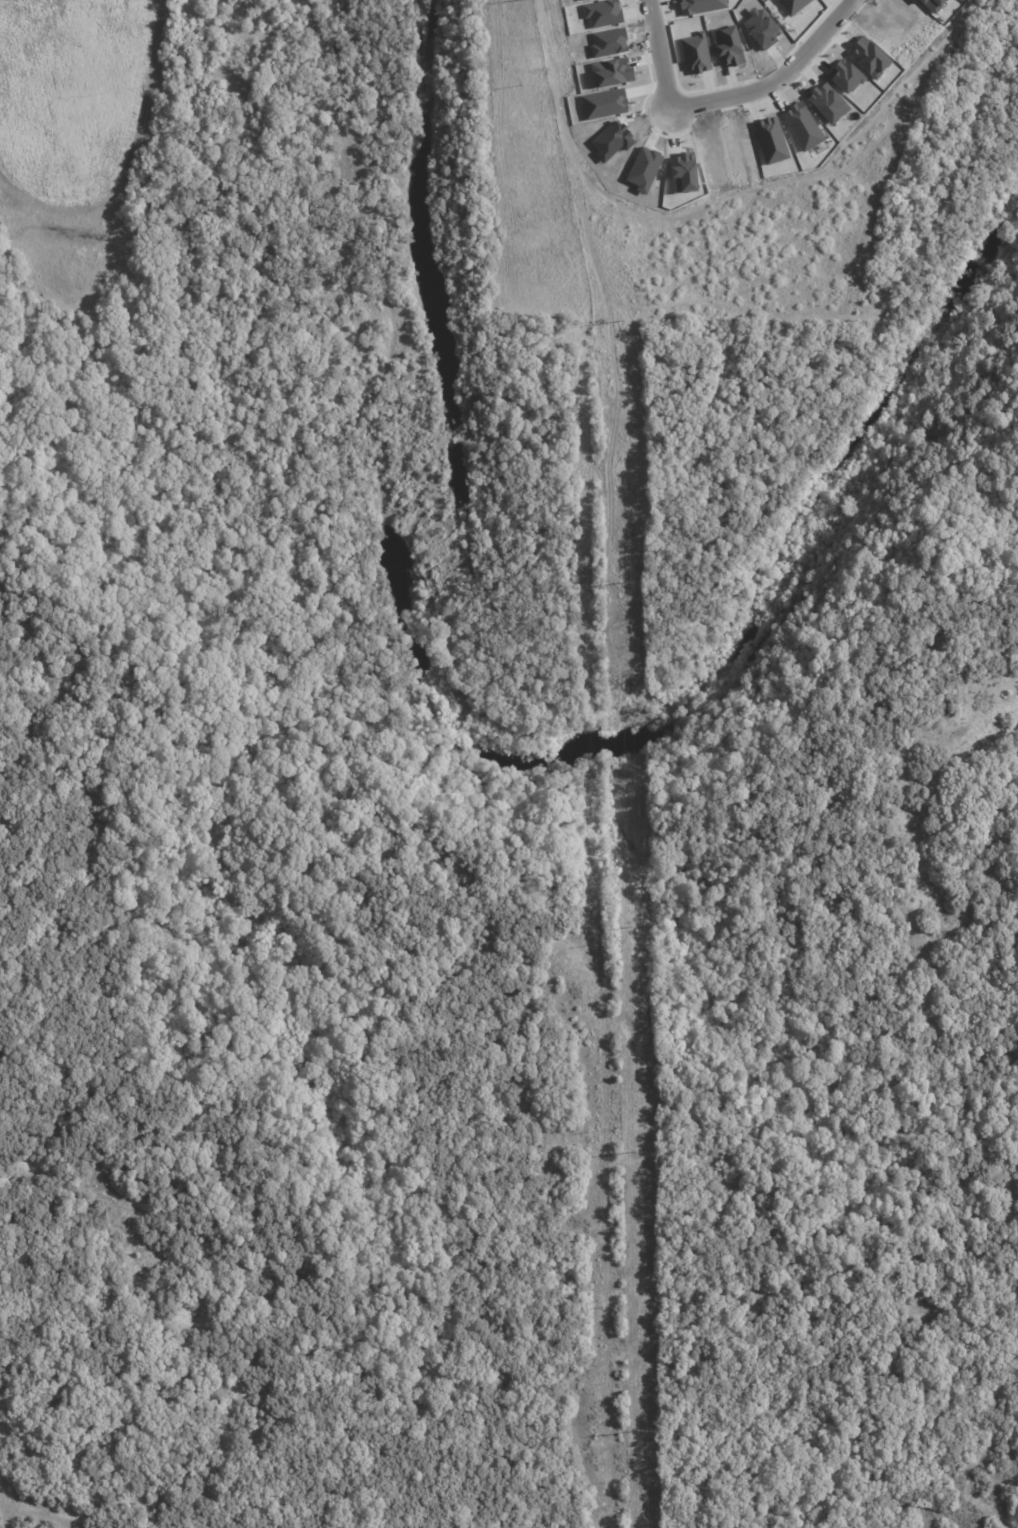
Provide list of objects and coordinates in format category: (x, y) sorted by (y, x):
building: (934, 4)
building: (702, 5)
building: (792, 5)
building: (604, 11)
road: (839, 37)
building: (729, 44)
building: (696, 51)
road: (659, 54)
building: (871, 56)
road: (802, 72)
building: (846, 73)
road: (775, 78)
road: (728, 83)
road: (651, 87)
road: (645, 88)
building: (829, 100)
building: (605, 102)
building: (802, 125)
building: (771, 139)
building: (685, 171)

